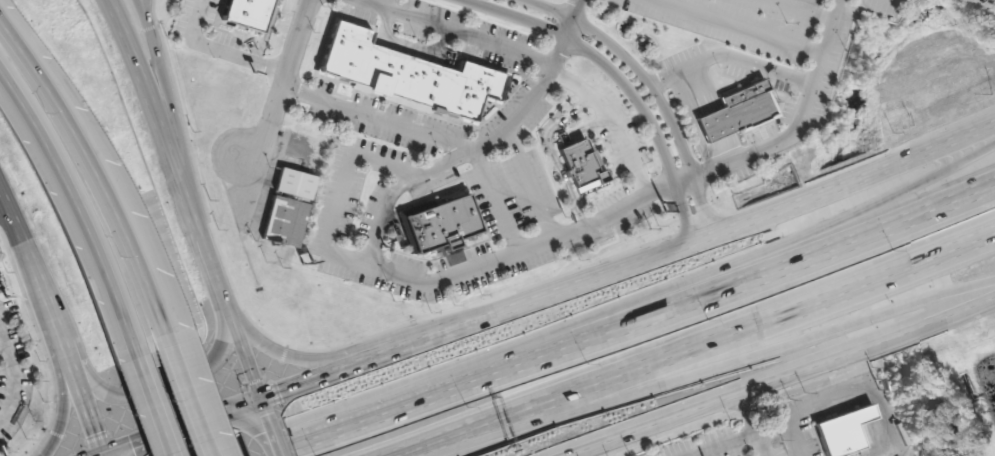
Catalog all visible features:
road: (150, 13)
road: (574, 20)
road: (455, 32)
road: (158, 67)
building: (407, 73)
road: (618, 81)
road: (282, 83)
road: (652, 84)
road: (524, 106)
building: (744, 112)
road: (610, 124)
road: (813, 125)
building: (583, 165)
road: (96, 168)
road: (529, 182)
building: (299, 185)
road: (190, 198)
road: (497, 199)
road: (78, 204)
road: (7, 206)
road: (7, 217)
building: (441, 221)
building: (288, 222)
road: (753, 250)
road: (631, 263)
road: (366, 264)
road: (844, 318)
road: (627, 324)
road: (59, 336)
road: (690, 343)
road: (282, 350)
road: (790, 369)
road: (11, 379)
road: (156, 386)
road: (873, 388)
road: (64, 392)
road: (191, 396)
traffic signals: (263, 400)
road: (153, 401)
road: (544, 410)
road: (267, 413)
road: (750, 423)
road: (182, 426)
building: (844, 428)
road: (800, 438)
road: (746, 439)
road: (276, 441)
traffic signals: (102, 452)
road: (96, 454)
road: (102, 454)

